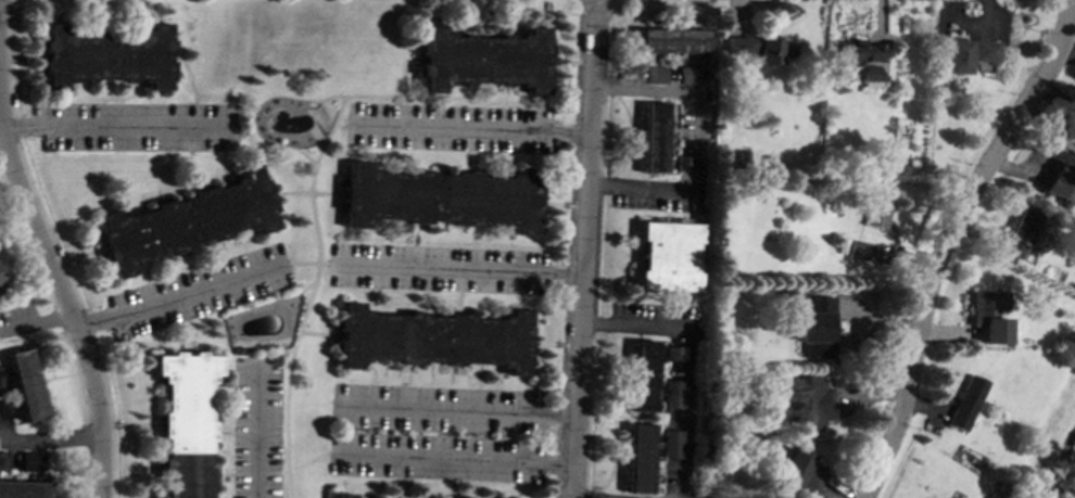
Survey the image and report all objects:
building: (672, 39)
building: (762, 49)
building: (985, 50)
building: (859, 52)
building: (105, 55)
building: (956, 55)
building: (483, 59)
building: (656, 74)
building: (690, 74)
building: (873, 76)
road: (403, 84)
road: (227, 95)
road: (695, 95)
road: (375, 97)
road: (255, 108)
road: (195, 111)
road: (1, 116)
road: (112, 128)
road: (485, 128)
building: (654, 137)
building: (679, 162)
building: (1058, 181)
road: (636, 189)
building: (446, 200)
building: (876, 212)
building: (187, 220)
building: (1020, 232)
road: (948, 240)
road: (586, 248)
building: (857, 250)
building: (668, 256)
road: (308, 264)
road: (464, 267)
building: (1, 289)
road: (64, 294)
road: (314, 295)
road: (177, 297)
building: (987, 315)
building: (817, 325)
building: (433, 337)
building: (676, 353)
road: (688, 367)
building: (644, 375)
building: (1, 379)
building: (26, 384)
building: (674, 393)
building: (810, 401)
building: (966, 401)
building: (3, 408)
road: (466, 410)
building: (193, 424)
road: (260, 434)
road: (52, 439)
building: (672, 443)
building: (641, 458)
building: (2, 460)
building: (30, 461)
road: (465, 461)
building: (798, 474)
building: (23, 489)
building: (341, 495)

